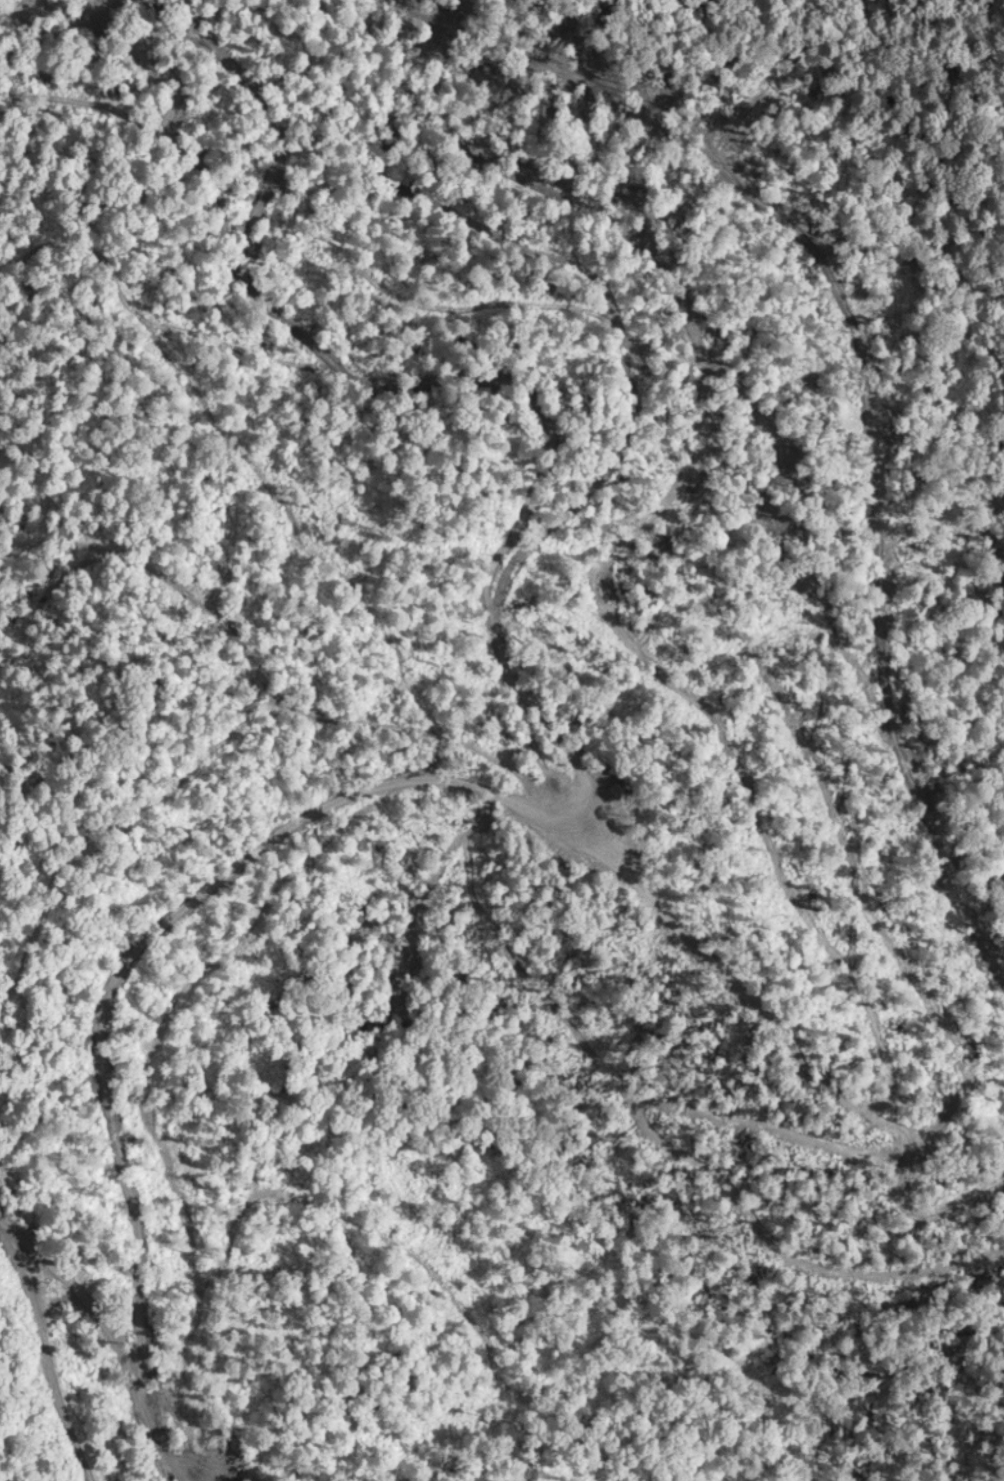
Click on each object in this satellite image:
road: (61, 1314)

